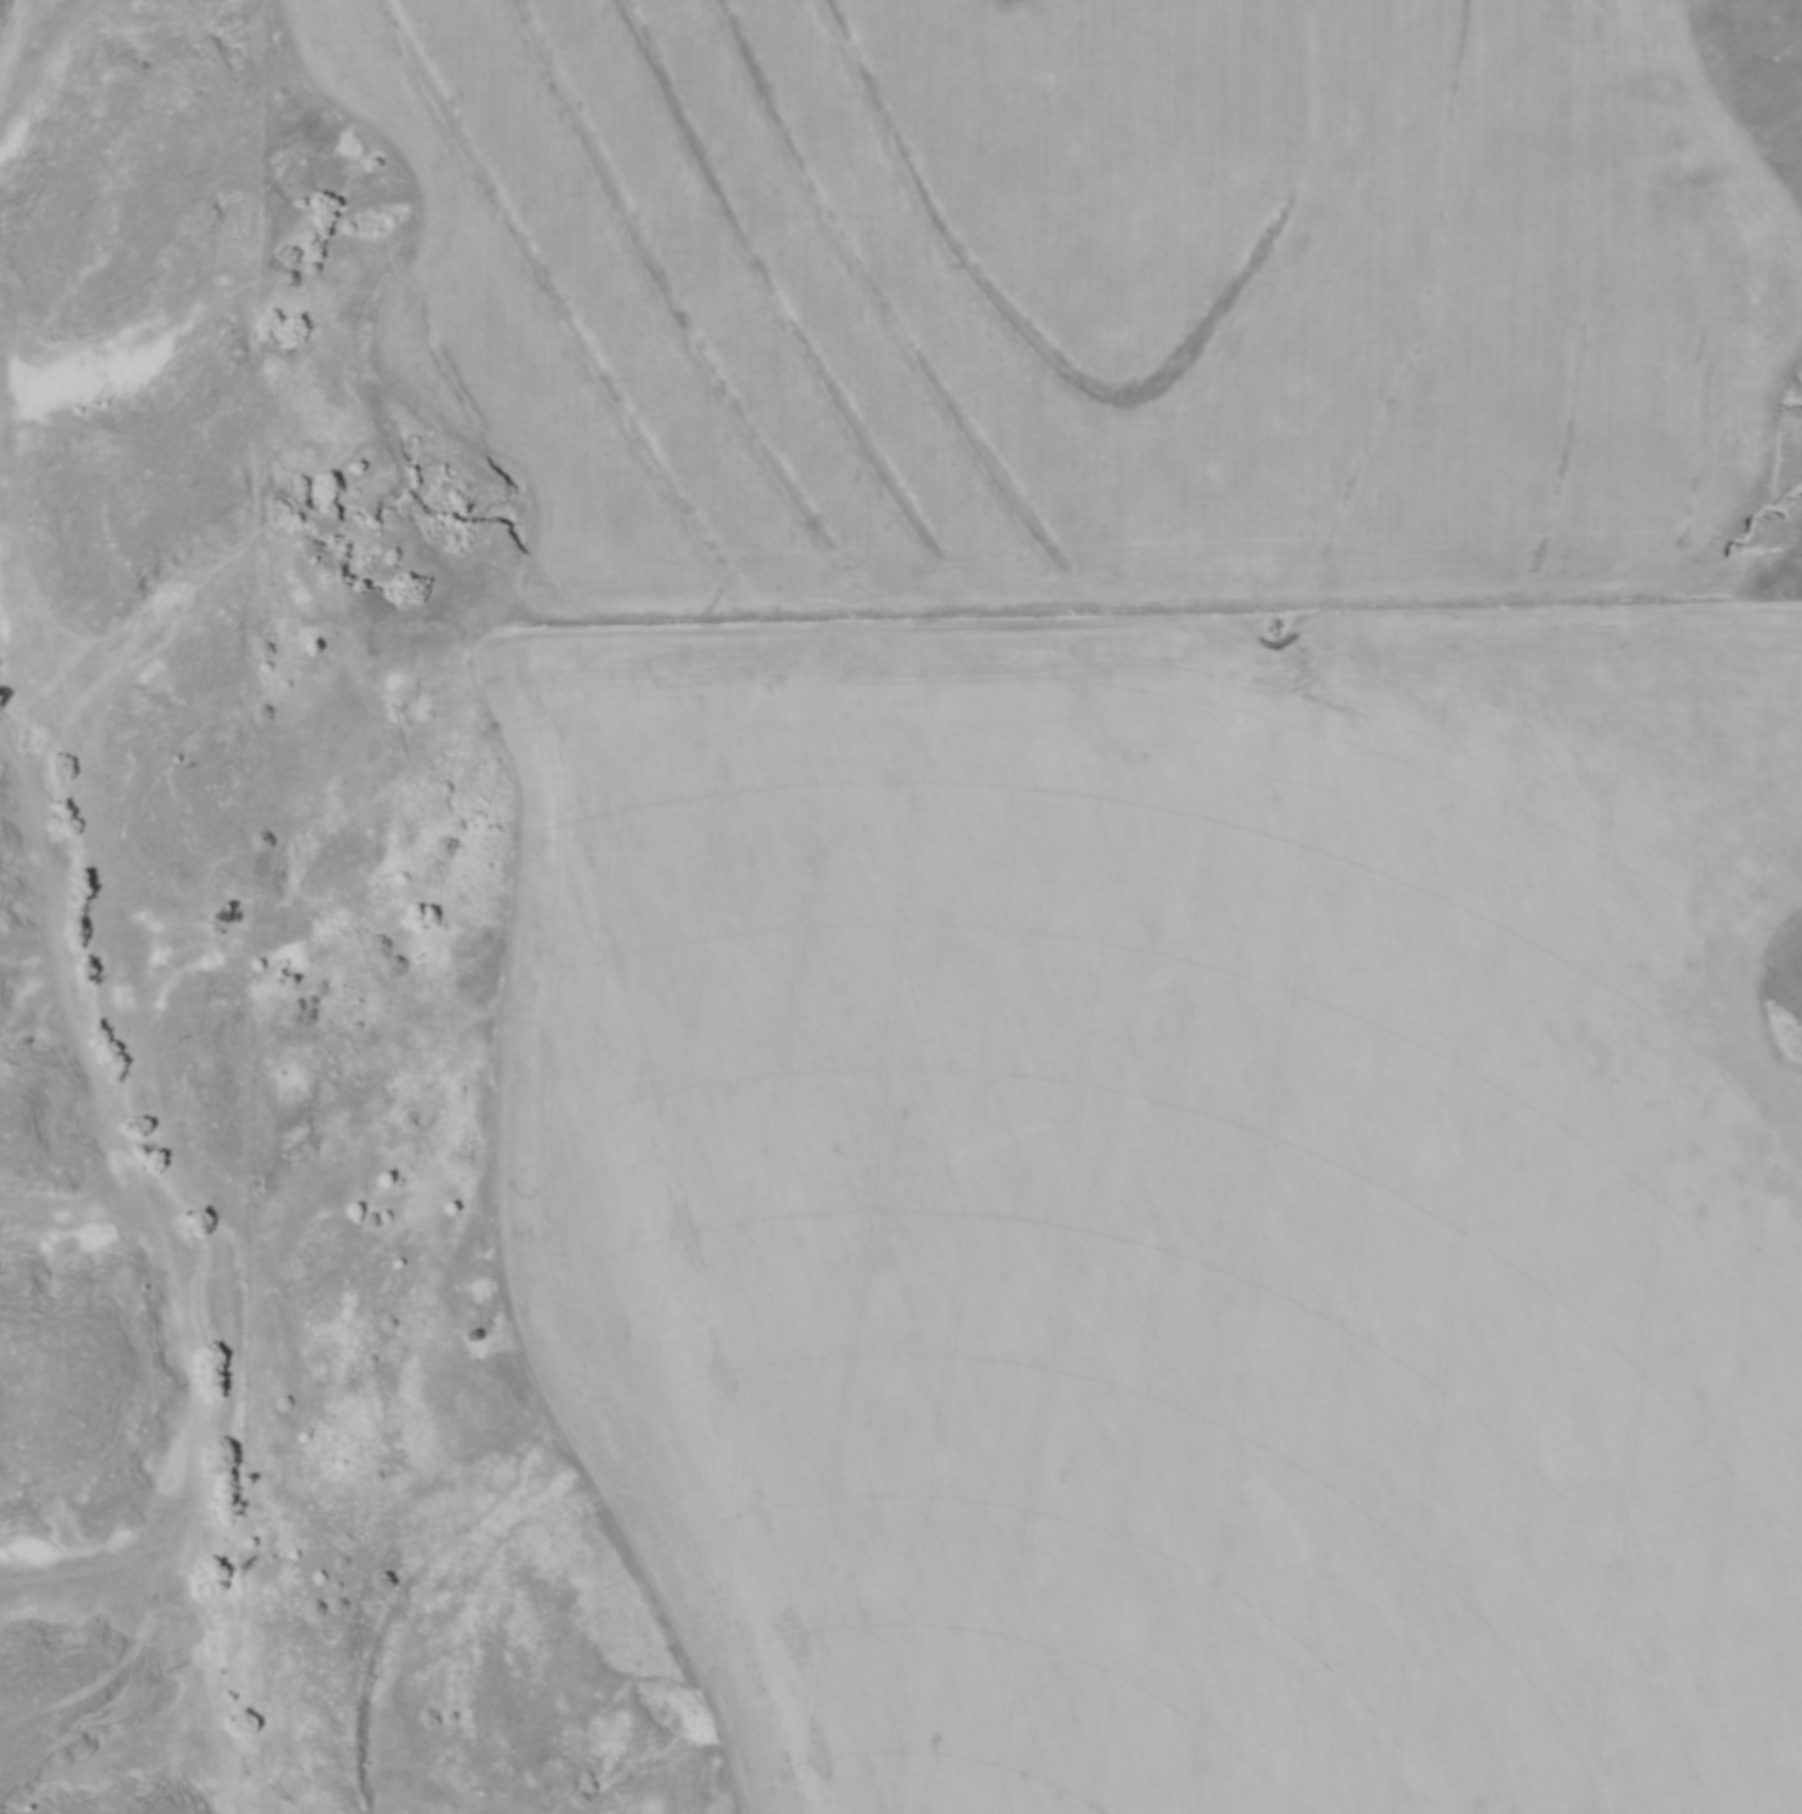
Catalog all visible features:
crop: (1085, 293)
crop: (1177, 1196)

